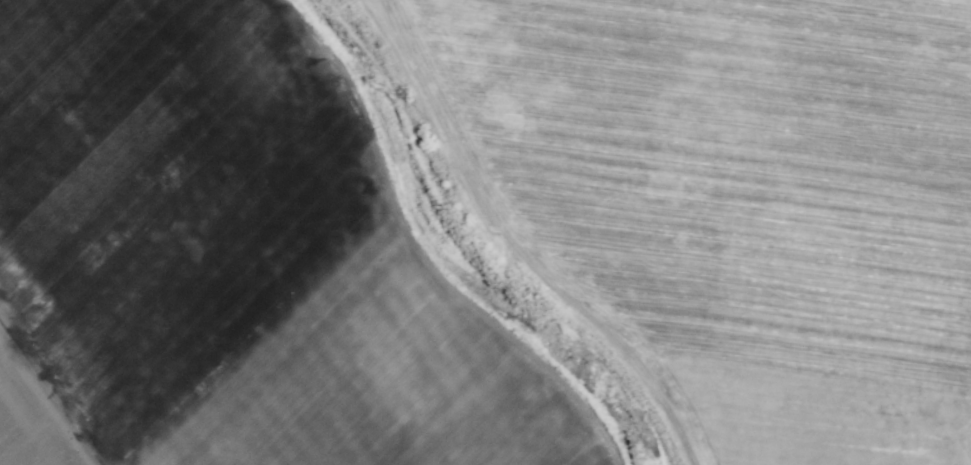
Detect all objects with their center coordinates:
crop: (728, 204)

